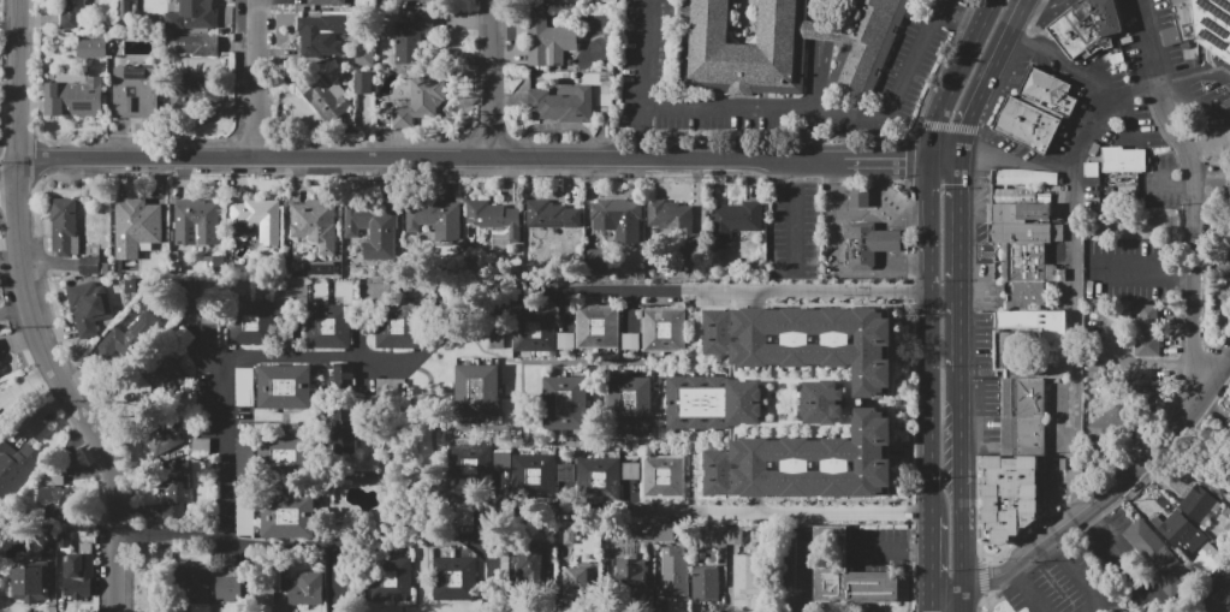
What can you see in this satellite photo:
building: (327, 2)
road: (1035, 2)
road: (1053, 5)
road: (819, 10)
building: (71, 13)
building: (200, 13)
road: (1033, 14)
road: (961, 16)
building: (1205, 23)
building: (1085, 25)
road: (819, 29)
building: (322, 32)
building: (411, 37)
building: (549, 42)
building: (194, 46)
building: (786, 47)
road: (1152, 47)
building: (91, 48)
building: (364, 58)
road: (1062, 63)
road: (1195, 75)
road: (956, 77)
road: (986, 78)
road: (263, 81)
road: (493, 81)
building: (364, 83)
road: (17, 85)
building: (190, 91)
building: (136, 93)
building: (76, 95)
road: (813, 99)
road: (1198, 99)
building: (327, 100)
building: (422, 103)
building: (561, 105)
building: (1038, 111)
road: (776, 112)
road: (945, 127)
road: (644, 133)
building: (1217, 135)
road: (832, 138)
road: (827, 160)
road: (889, 160)
building: (1124, 160)
road: (410, 161)
road: (943, 161)
road: (1014, 166)
road: (796, 173)
road: (8, 174)
road: (881, 184)
road: (1166, 185)
building: (1226, 192)
building: (860, 196)
gas station: (860, 196)
road: (895, 207)
building: (551, 213)
building: (667, 214)
building: (433, 216)
building: (261, 219)
building: (618, 219)
building: (493, 220)
building: (315, 224)
building: (733, 224)
building: (64, 226)
building: (194, 227)
road: (795, 227)
building: (136, 228)
building: (374, 231)
building: (1024, 233)
road: (884, 240)
building: (869, 244)
road: (1193, 245)
road: (834, 246)
building: (595, 262)
road: (901, 263)
building: (1224, 263)
building: (88, 266)
road: (958, 267)
parking lot: (1134, 272)
road: (1072, 275)
road: (731, 291)
building: (89, 307)
building: (210, 319)
building: (255, 323)
building: (398, 323)
building: (1036, 325)
building: (328, 326)
building: (598, 327)
building: (534, 329)
building: (665, 331)
building: (1145, 331)
building: (183, 335)
road: (929, 335)
building: (807, 340)
building: (129, 341)
building: (1016, 349)
road: (224, 358)
building: (0, 372)
building: (341, 374)
building: (164, 375)
building: (1139, 380)
building: (285, 387)
building: (477, 391)
road: (65, 393)
building: (566, 402)
building: (713, 402)
building: (822, 402)
building: (630, 404)
building: (1023, 416)
building: (1229, 418)
building: (1107, 423)
road: (959, 424)
building: (1, 427)
building: (346, 430)
building: (158, 435)
building: (201, 445)
building: (286, 457)
building: (500, 459)
building: (807, 463)
building: (471, 467)
building: (16, 468)
building: (629, 470)
building: (564, 475)
building: (535, 476)
building: (662, 477)
building: (599, 480)
road: (1107, 491)
building: (55, 494)
building: (174, 498)
building: (1195, 501)
road: (703, 513)
building: (287, 517)
building: (1178, 531)
building: (719, 533)
building: (654, 534)
building: (569, 535)
building: (733, 535)
road: (962, 537)
road: (256, 548)
road: (884, 548)
road: (919, 549)
road: (1118, 553)
building: (1159, 558)
road: (929, 562)
road: (481, 564)
building: (77, 566)
building: (636, 571)
building: (534, 572)
building: (849, 572)
building: (673, 574)
building: (748, 574)
road: (1075, 574)
road: (795, 575)
building: (706, 577)
building: (390, 578)
building: (454, 580)
building: (31, 581)
building: (580, 582)
building: (196, 583)
building: (262, 584)
building: (227, 588)
building: (307, 588)
road: (1024, 588)
building: (1219, 596)
road: (957, 606)
road: (962, 606)

